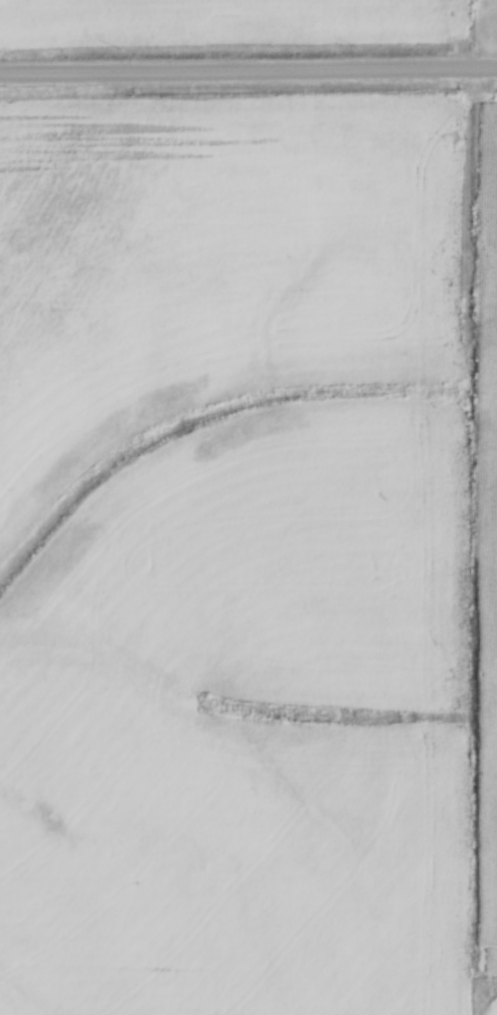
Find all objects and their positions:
road: (248, 68)

